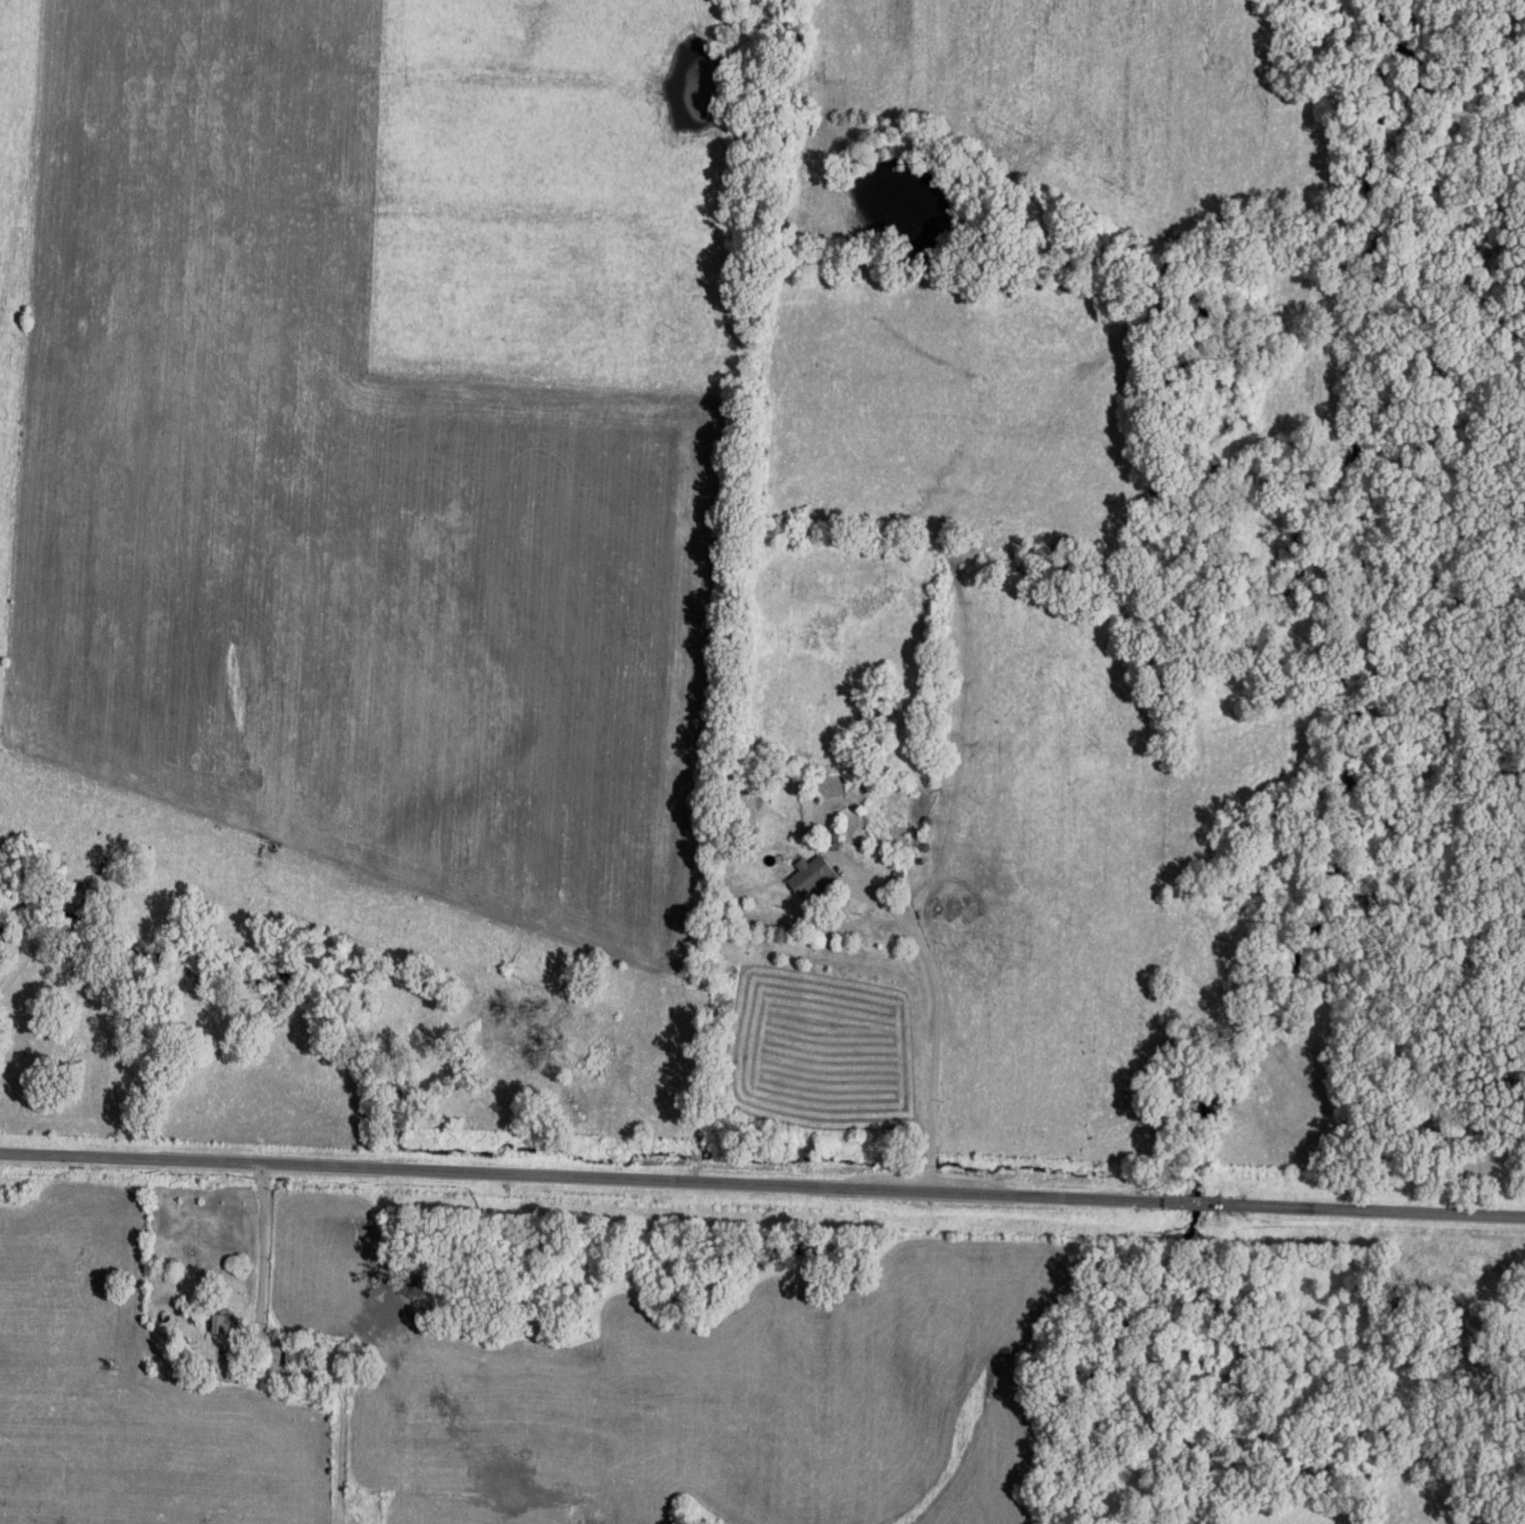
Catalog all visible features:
building: (811, 871)
road: (936, 1015)
road: (762, 1186)
road: (261, 1250)
building: (224, 1320)

